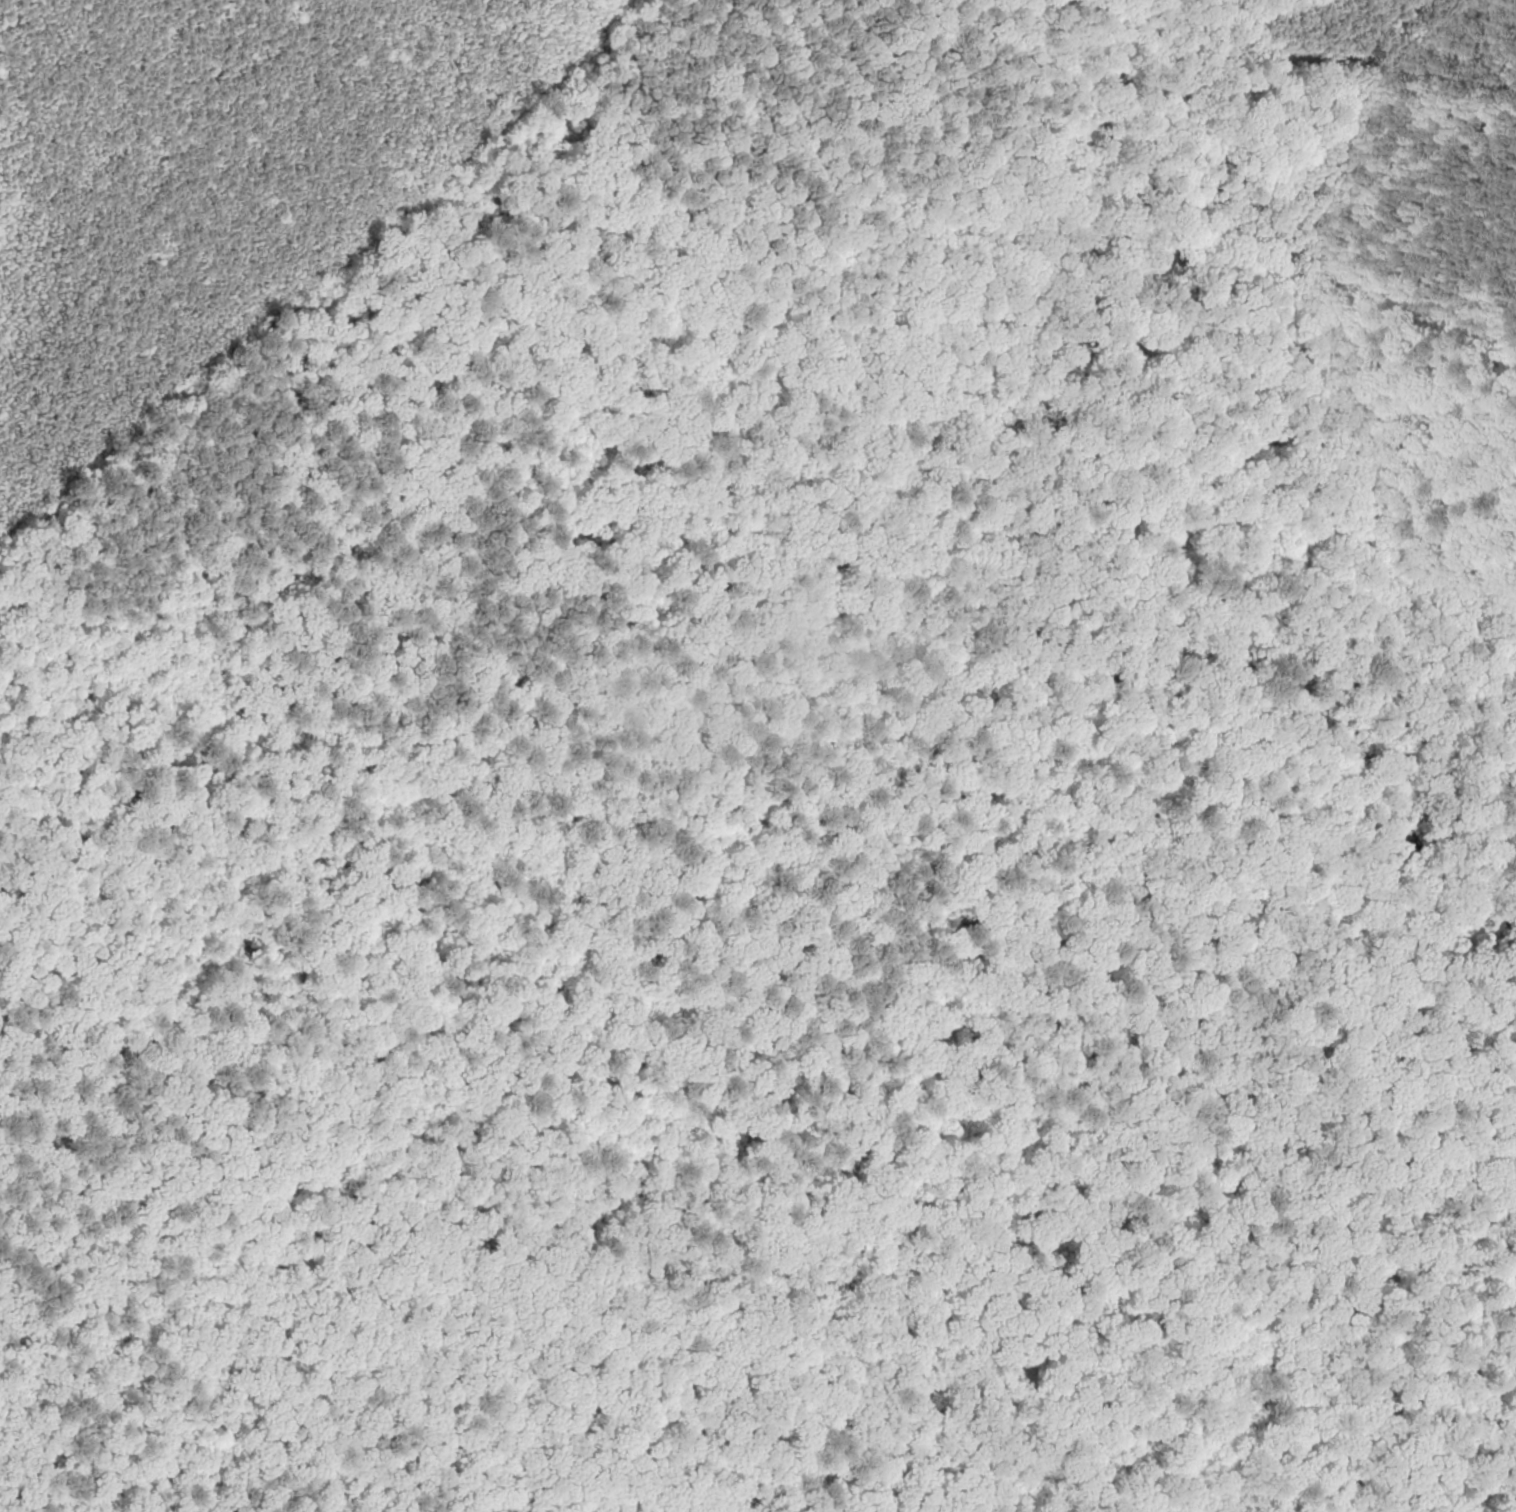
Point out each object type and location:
road: (840, 877)
park: (769, 894)

